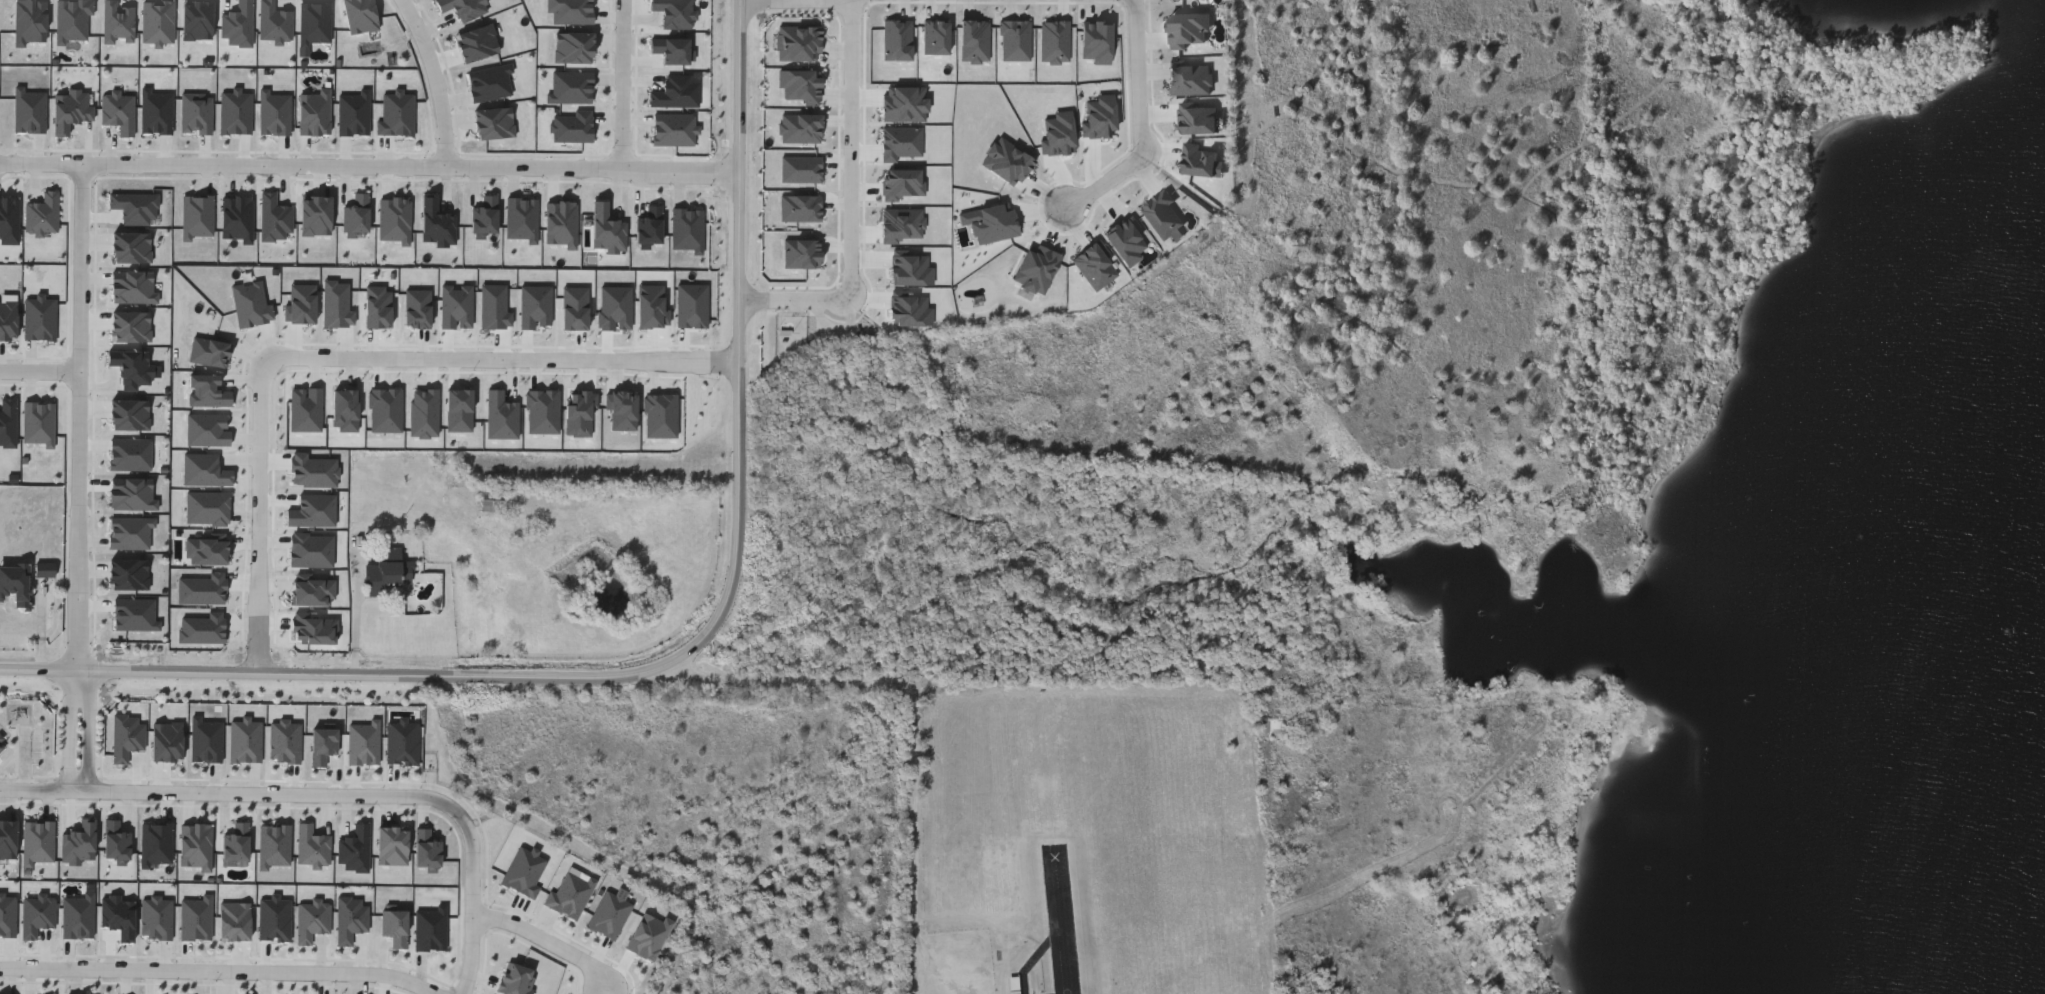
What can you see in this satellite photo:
road: (439, 78)
road: (623, 81)
road: (1143, 124)
road: (372, 162)
road: (854, 206)
road: (503, 359)
road: (40, 365)
road: (80, 422)
building: (494, 504)
road: (262, 515)
building: (48, 572)
building: (387, 574)
building: (49, 575)
building: (15, 581)
road: (708, 636)
road: (39, 684)
road: (78, 689)
road: (920, 710)
road: (90, 735)
road: (70, 737)
road: (81, 782)
road: (40, 785)
road: (278, 789)
road: (476, 907)
road: (549, 937)
road: (227, 967)

